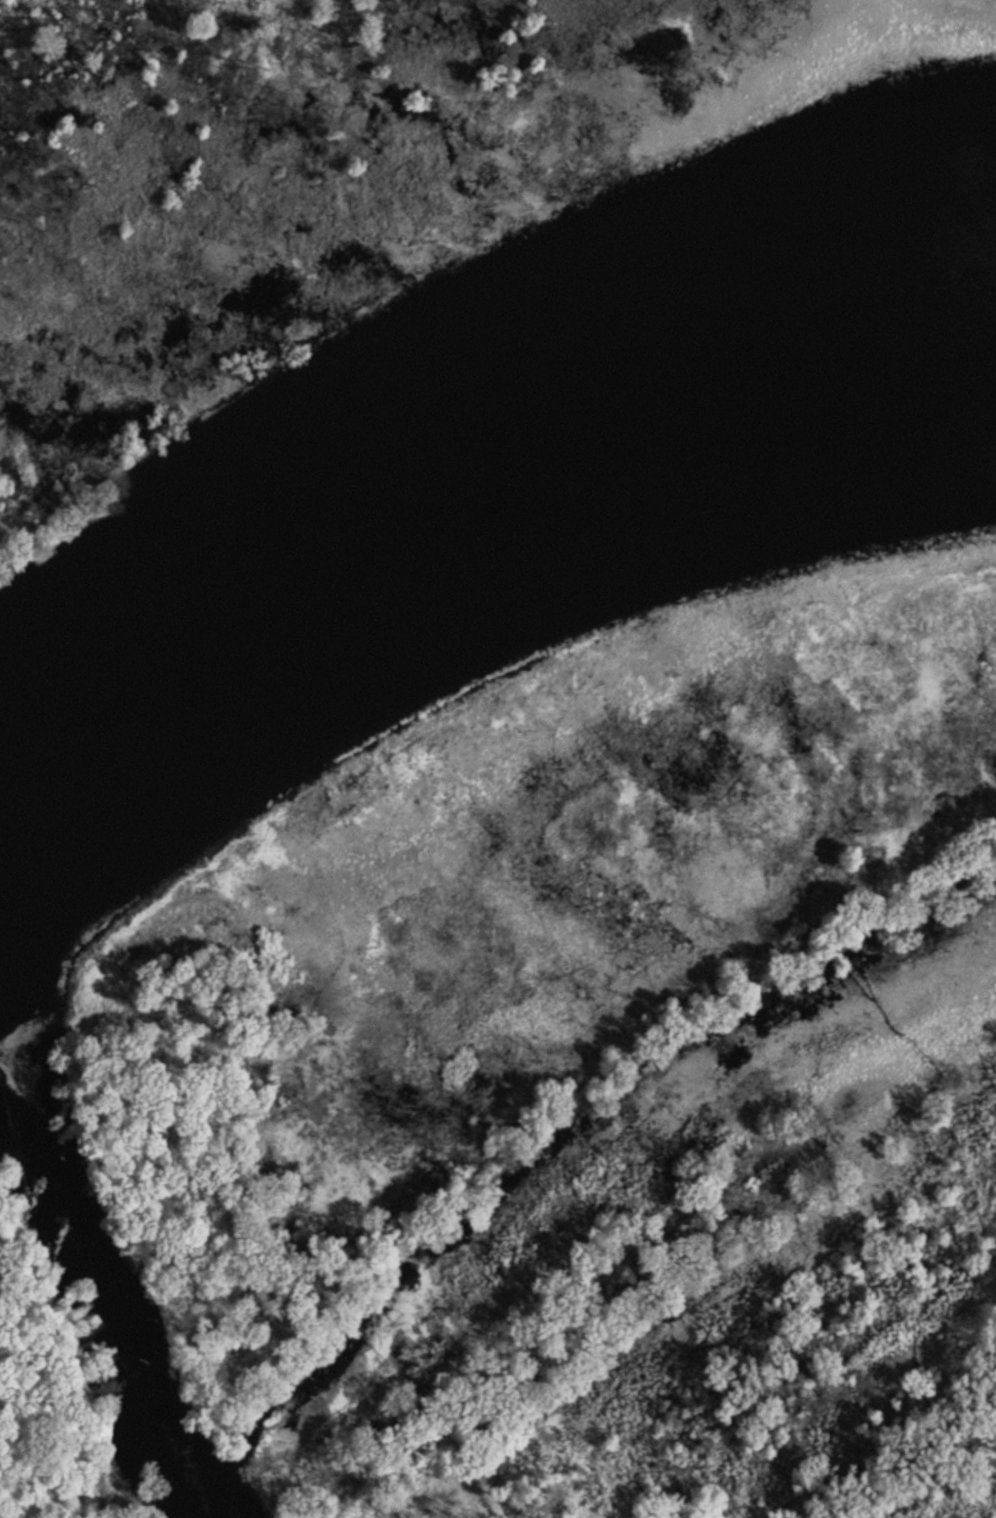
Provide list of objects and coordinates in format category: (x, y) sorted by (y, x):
river: (460, 490)
river: (90, 1260)

